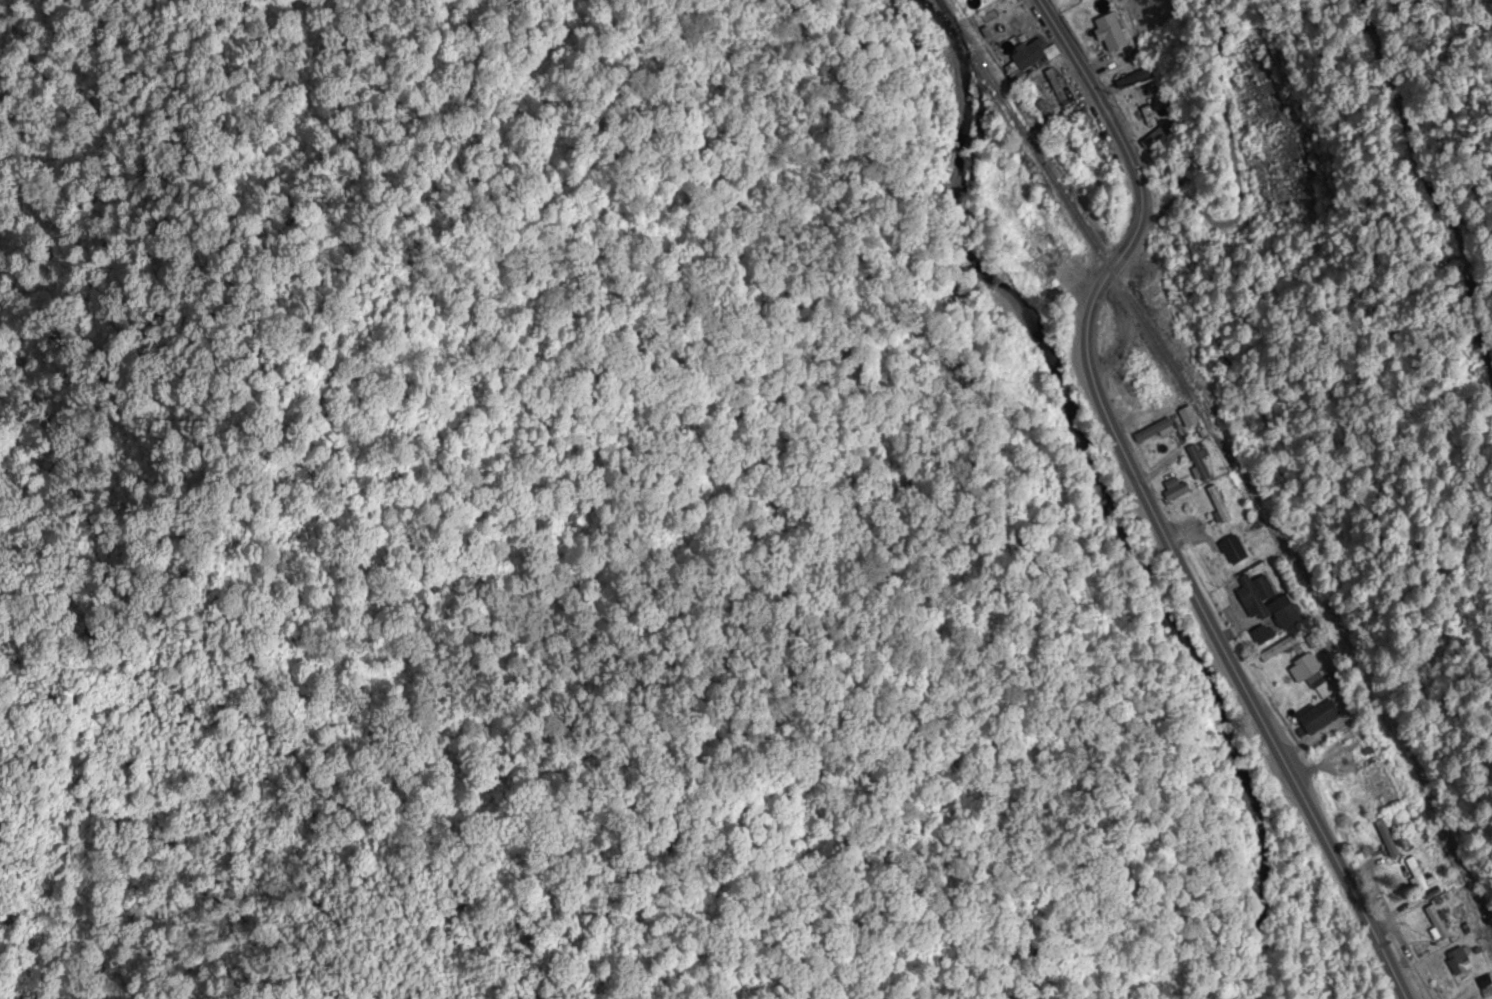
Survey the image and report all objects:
building: (1002, 23)
building: (1029, 57)
building: (1054, 91)
building: (1138, 91)
building: (1189, 417)
building: (1153, 432)
railway: (1228, 460)
building: (1199, 463)
building: (1177, 491)
road: (1145, 501)
building: (1220, 504)
building: (1234, 550)
building: (1268, 602)
building: (1262, 635)
building: (1305, 668)
building: (1320, 716)
building: (1385, 787)
building: (1421, 876)
building: (1438, 923)
building: (1458, 961)

